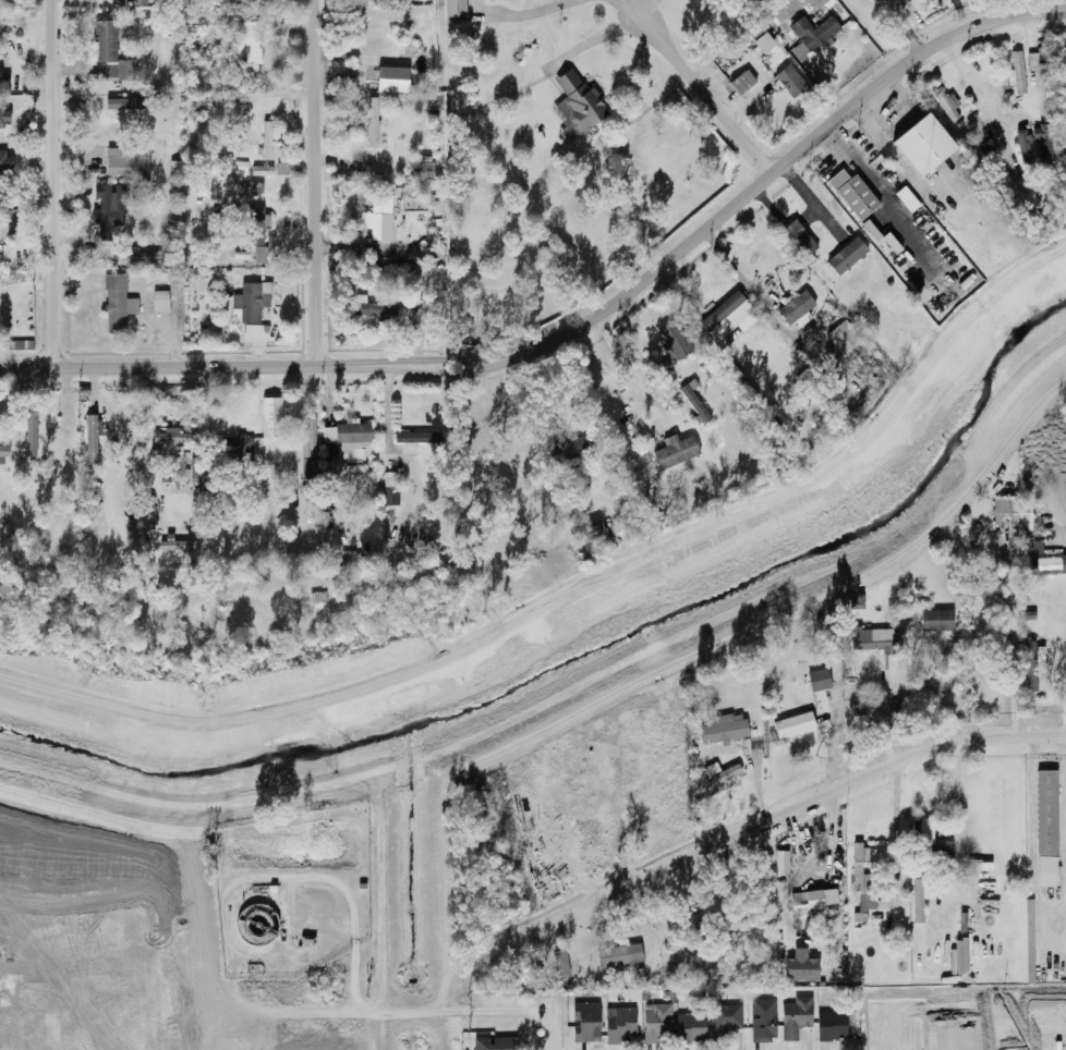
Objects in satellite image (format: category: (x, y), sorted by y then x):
building: (252, 0)
building: (136, 1)
road: (1064, 4)
building: (455, 8)
road: (627, 8)
road: (526, 14)
building: (811, 32)
building: (102, 41)
building: (763, 41)
building: (245, 48)
building: (388, 56)
building: (1037, 61)
building: (1015, 69)
building: (124, 70)
building: (789, 81)
building: (741, 82)
road: (708, 93)
road: (984, 96)
building: (578, 99)
building: (944, 102)
building: (4, 115)
building: (371, 122)
building: (1040, 135)
building: (266, 137)
building: (924, 145)
building: (1023, 149)
building: (126, 160)
building: (5, 161)
building: (992, 162)
building: (239, 167)
road: (782, 167)
building: (261, 170)
road: (903, 171)
building: (1064, 175)
road: (310, 183)
road: (50, 184)
building: (852, 193)
road: (814, 195)
building: (1026, 203)
building: (1063, 207)
building: (102, 210)
building: (375, 212)
building: (7, 222)
building: (253, 225)
building: (1063, 234)
building: (796, 236)
building: (846, 255)
road: (747, 288)
building: (114, 301)
building: (159, 301)
building: (249, 302)
building: (795, 306)
building: (362, 308)
building: (726, 314)
building: (419, 317)
building: (673, 337)
road: (446, 359)
road: (191, 367)
road: (446, 371)
road: (626, 371)
building: (693, 402)
building: (270, 416)
building: (29, 437)
building: (417, 437)
building: (177, 438)
building: (350, 439)
road: (142, 440)
building: (65, 444)
building: (89, 445)
building: (234, 445)
building: (306, 448)
building: (568, 448)
building: (3, 450)
building: (675, 450)
building: (205, 475)
building: (567, 493)
building: (389, 496)
building: (1004, 510)
building: (146, 512)
building: (586, 534)
building: (175, 545)
building: (1045, 563)
building: (982, 586)
building: (935, 620)
building: (872, 640)
river: (593, 652)
building: (1033, 663)
building: (817, 679)
road: (1037, 703)
building: (792, 724)
building: (723, 731)
road: (1064, 769)
building: (719, 773)
road: (956, 786)
building: (1045, 811)
road: (782, 816)
building: (924, 831)
road: (894, 832)
building: (780, 863)
building: (1044, 872)
building: (861, 881)
building: (920, 896)
building: (812, 908)
building: (739, 923)
road: (1044, 927)
building: (699, 940)
building: (1029, 953)
building: (619, 954)
building: (958, 956)
building: (559, 960)
building: (799, 966)
road: (400, 1012)
building: (795, 1015)
building: (724, 1020)
building: (762, 1020)
building: (584, 1021)
building: (656, 1024)
building: (619, 1025)
building: (831, 1025)
building: (689, 1026)
building: (493, 1043)

